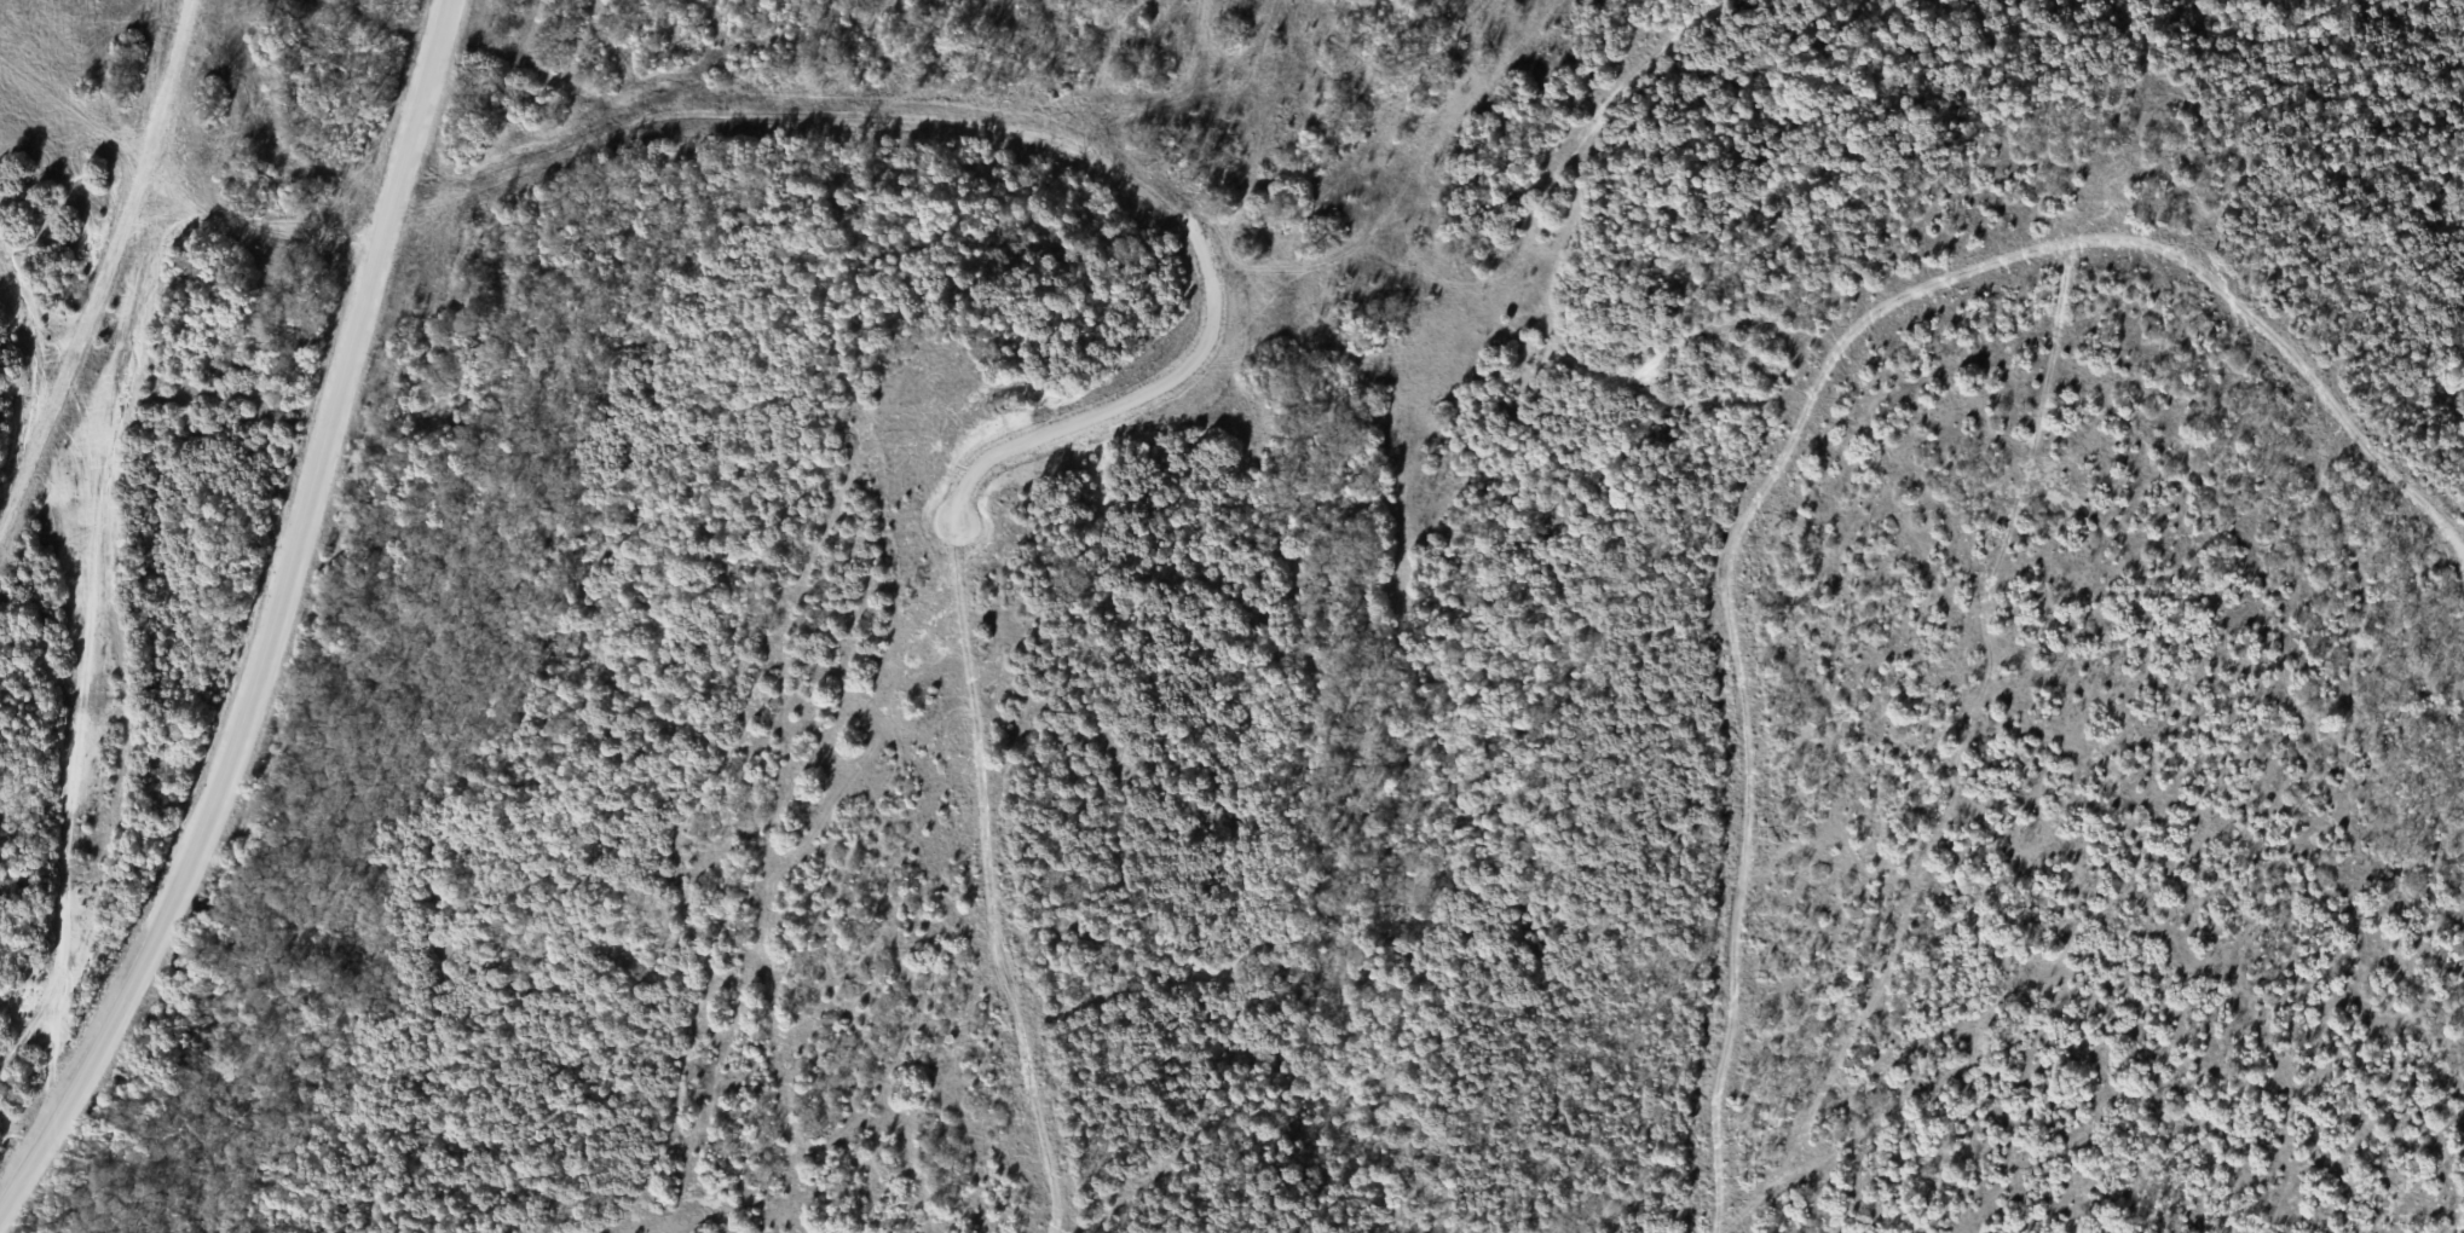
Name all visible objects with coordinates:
road: (111, 277)
road: (270, 624)

